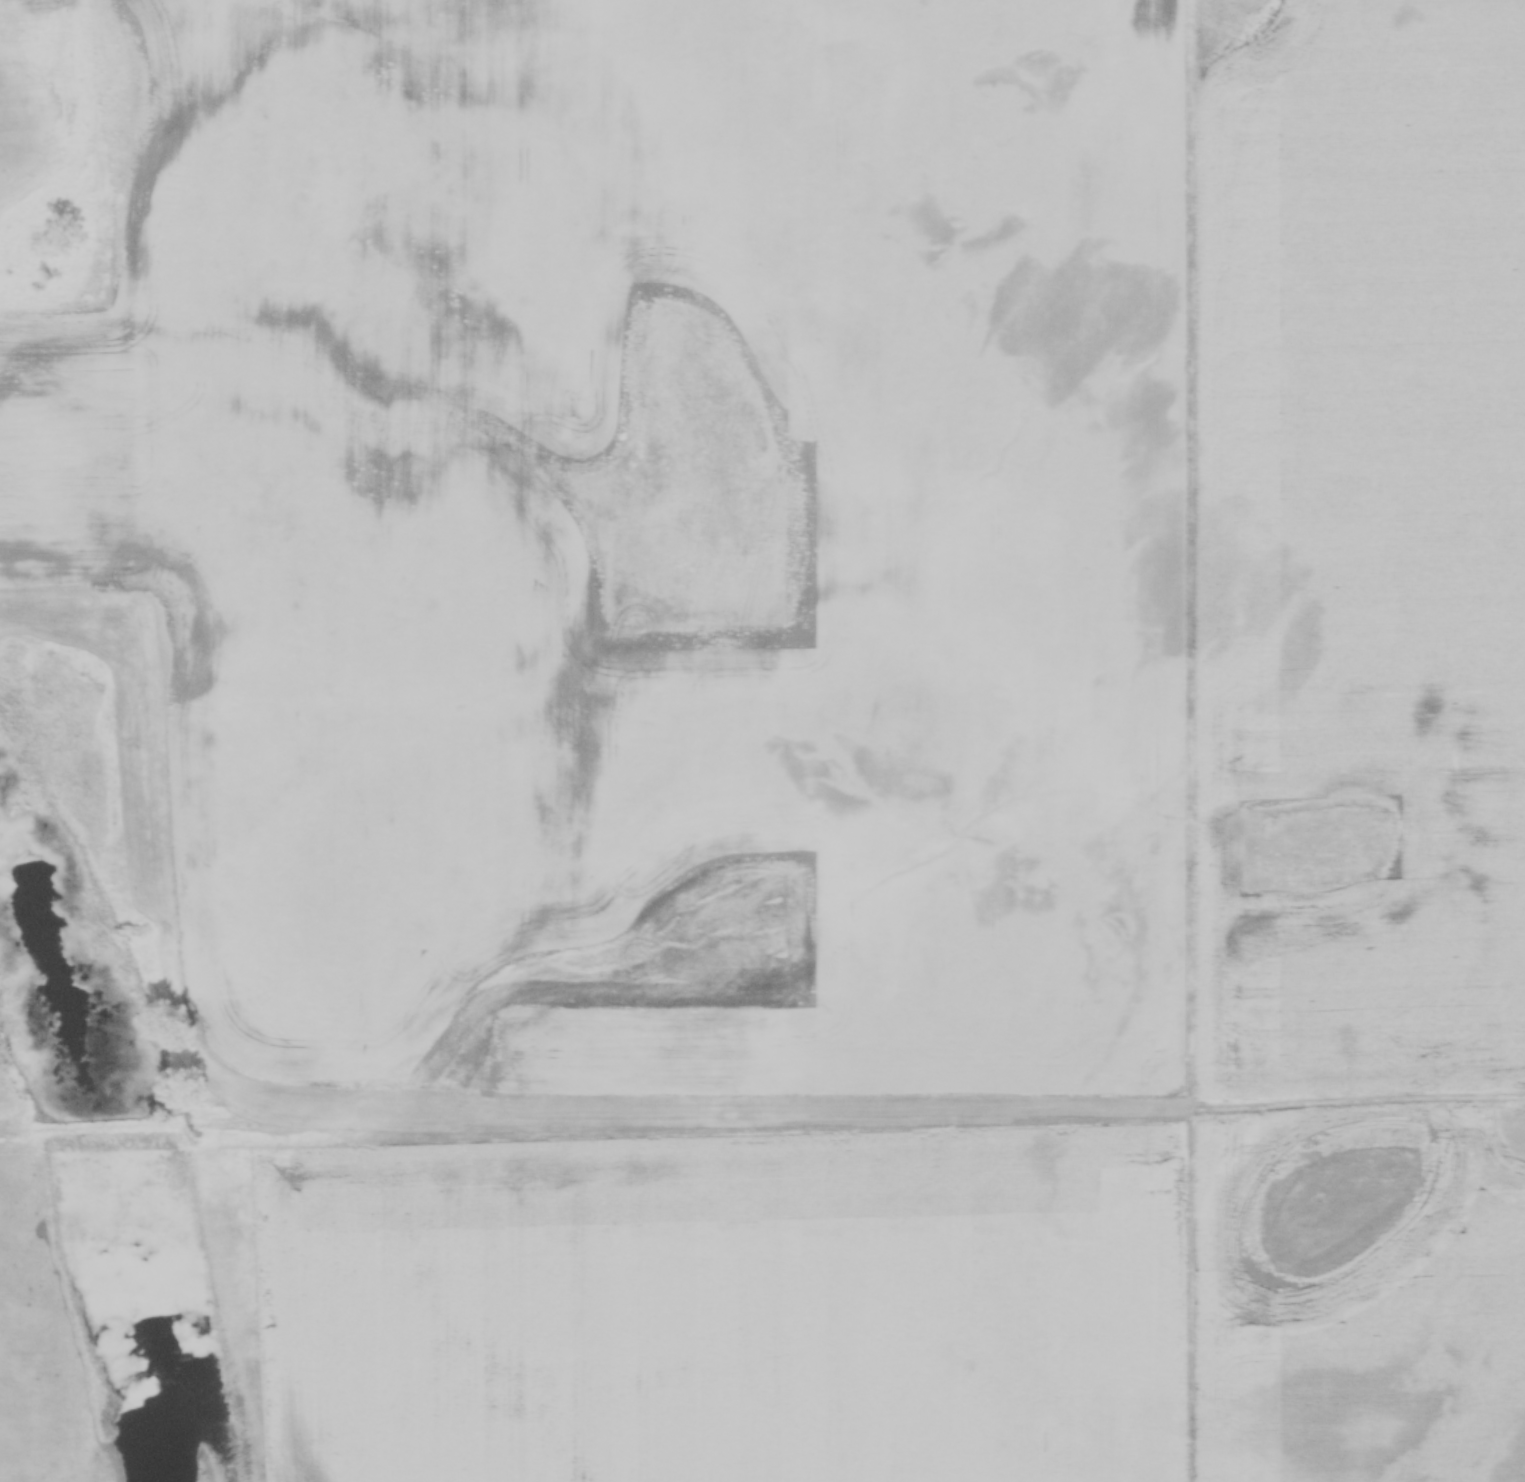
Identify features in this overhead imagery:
road: (920, 1112)

